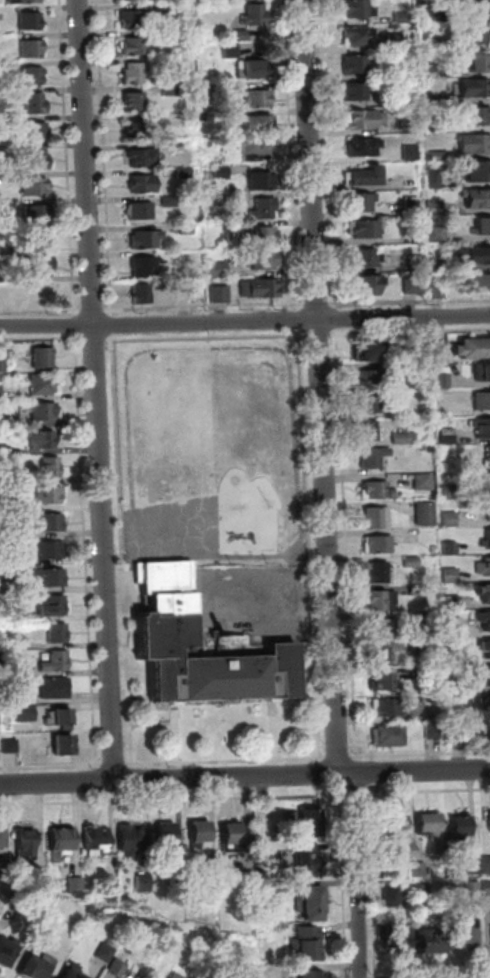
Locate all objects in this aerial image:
building: (30, 1)
building: (470, 6)
building: (165, 7)
building: (353, 8)
building: (256, 12)
building: (427, 12)
building: (400, 15)
building: (131, 16)
building: (31, 19)
building: (473, 32)
building: (241, 35)
building: (356, 35)
building: (396, 41)
building: (435, 41)
building: (135, 42)
building: (32, 46)
building: (232, 50)
building: (476, 61)
building: (357, 62)
building: (4, 66)
building: (256, 67)
building: (133, 70)
building: (427, 70)
building: (399, 71)
building: (34, 72)
building: (473, 86)
building: (172, 90)
building: (359, 90)
building: (215, 91)
building: (259, 95)
building: (429, 98)
building: (135, 99)
building: (403, 100)
building: (36, 101)
building: (476, 113)
building: (364, 118)
building: (259, 121)
building: (407, 125)
building: (141, 128)
building: (436, 128)
building: (33, 129)
building: (474, 141)
building: (222, 144)
building: (257, 144)
building: (362, 146)
building: (407, 152)
building: (142, 155)
building: (438, 156)
building: (30, 157)
road: (328, 168)
building: (479, 170)
building: (223, 172)
building: (185, 173)
building: (362, 175)
building: (407, 177)
building: (435, 178)
building: (261, 179)
building: (144, 182)
building: (34, 185)
building: (481, 198)
building: (226, 199)
building: (363, 200)
building: (171, 201)
building: (411, 203)
building: (265, 205)
building: (435, 207)
building: (139, 208)
building: (36, 212)
building: (483, 222)
building: (368, 225)
building: (188, 229)
building: (265, 234)
building: (438, 234)
building: (42, 236)
building: (146, 236)
building: (4, 250)
building: (479, 255)
building: (364, 256)
building: (265, 258)
building: (419, 263)
building: (440, 264)
building: (145, 266)
building: (220, 269)
building: (5, 277)
building: (481, 281)
building: (370, 282)
building: (416, 285)
building: (263, 286)
building: (142, 291)
building: (438, 291)
building: (221, 294)
road: (409, 300)
road: (314, 302)
road: (197, 306)
road: (47, 309)
road: (245, 322)
road: (316, 332)
road: (201, 335)
road: (38, 338)
building: (438, 346)
building: (472, 348)
building: (374, 351)
building: (43, 355)
building: (4, 365)
building: (412, 370)
building: (483, 371)
building: (370, 379)
road: (303, 380)
building: (444, 380)
building: (43, 382)
road: (322, 387)
road: (100, 389)
building: (2, 393)
building: (480, 399)
building: (374, 405)
building: (43, 409)
building: (2, 421)
building: (481, 427)
road: (80, 430)
building: (369, 431)
building: (447, 436)
building: (42, 437)
building: (403, 438)
building: (5, 450)
building: (372, 456)
building: (487, 456)
building: (49, 466)
road: (343, 466)
building: (5, 475)
road: (118, 481)
building: (483, 481)
building: (425, 482)
building: (377, 487)
building: (48, 493)
building: (450, 493)
building: (6, 503)
building: (489, 509)
building: (376, 515)
building: (427, 515)
building: (51, 519)
building: (452, 520)
building: (20, 533)
building: (487, 537)
building: (381, 545)
building: (51, 548)
building: (452, 549)
building: (7, 558)
building: (413, 562)
building: (486, 564)
building: (478, 567)
building: (377, 571)
building: (47, 575)
building: (452, 575)
building: (9, 585)
building: (419, 590)
building: (485, 591)
building: (380, 600)
parking lot: (250, 601)
building: (54, 603)
building: (455, 603)
building: (19, 616)
building: (427, 618)
building: (483, 619)
building: (163, 625)
building: (383, 625)
building: (56, 633)
building: (22, 644)
building: (422, 646)
building: (485, 647)
building: (382, 655)
building: (54, 659)
building: (455, 659)
building: (23, 672)
building: (419, 672)
building: (483, 676)
building: (384, 680)
building: (54, 685)
building: (11, 695)
building: (387, 703)
building: (486, 703)
building: (64, 713)
building: (25, 715)
road: (152, 723)
road: (273, 728)
building: (432, 728)
building: (458, 729)
building: (487, 729)
road: (175, 732)
building: (391, 733)
building: (64, 743)
building: (12, 746)
road: (421, 753)
road: (341, 755)
road: (376, 758)
road: (97, 764)
road: (112, 764)
road: (128, 764)
road: (324, 771)
road: (378, 772)
road: (245, 776)
road: (380, 788)
road: (327, 789)
road: (427, 791)
road: (358, 794)
road: (175, 799)
building: (488, 819)
building: (310, 825)
building: (395, 826)
building: (430, 826)
building: (461, 827)
building: (166, 835)
building: (201, 835)
building: (98, 839)
building: (232, 839)
building: (3, 840)
building: (132, 840)
building: (27, 843)
building: (63, 843)
building: (308, 859)
building: (472, 866)
building: (487, 866)
building: (7, 870)
building: (420, 870)
building: (392, 872)
building: (178, 875)
road: (360, 875)
building: (212, 877)
building: (40, 878)
building: (249, 878)
building: (145, 883)
building: (77, 884)
road: (346, 886)
building: (486, 888)
building: (111, 889)
building: (474, 890)
building: (421, 892)
building: (394, 897)
building: (25, 901)
building: (312, 905)
building: (50, 930)
building: (466, 940)
building: (399, 941)
road: (377, 942)
building: (309, 944)
building: (432, 944)
building: (108, 953)
building: (7, 954)
building: (40, 968)
building: (119, 968)
building: (76, 972)
building: (269, 973)
building: (177, 975)
building: (312, 975)

